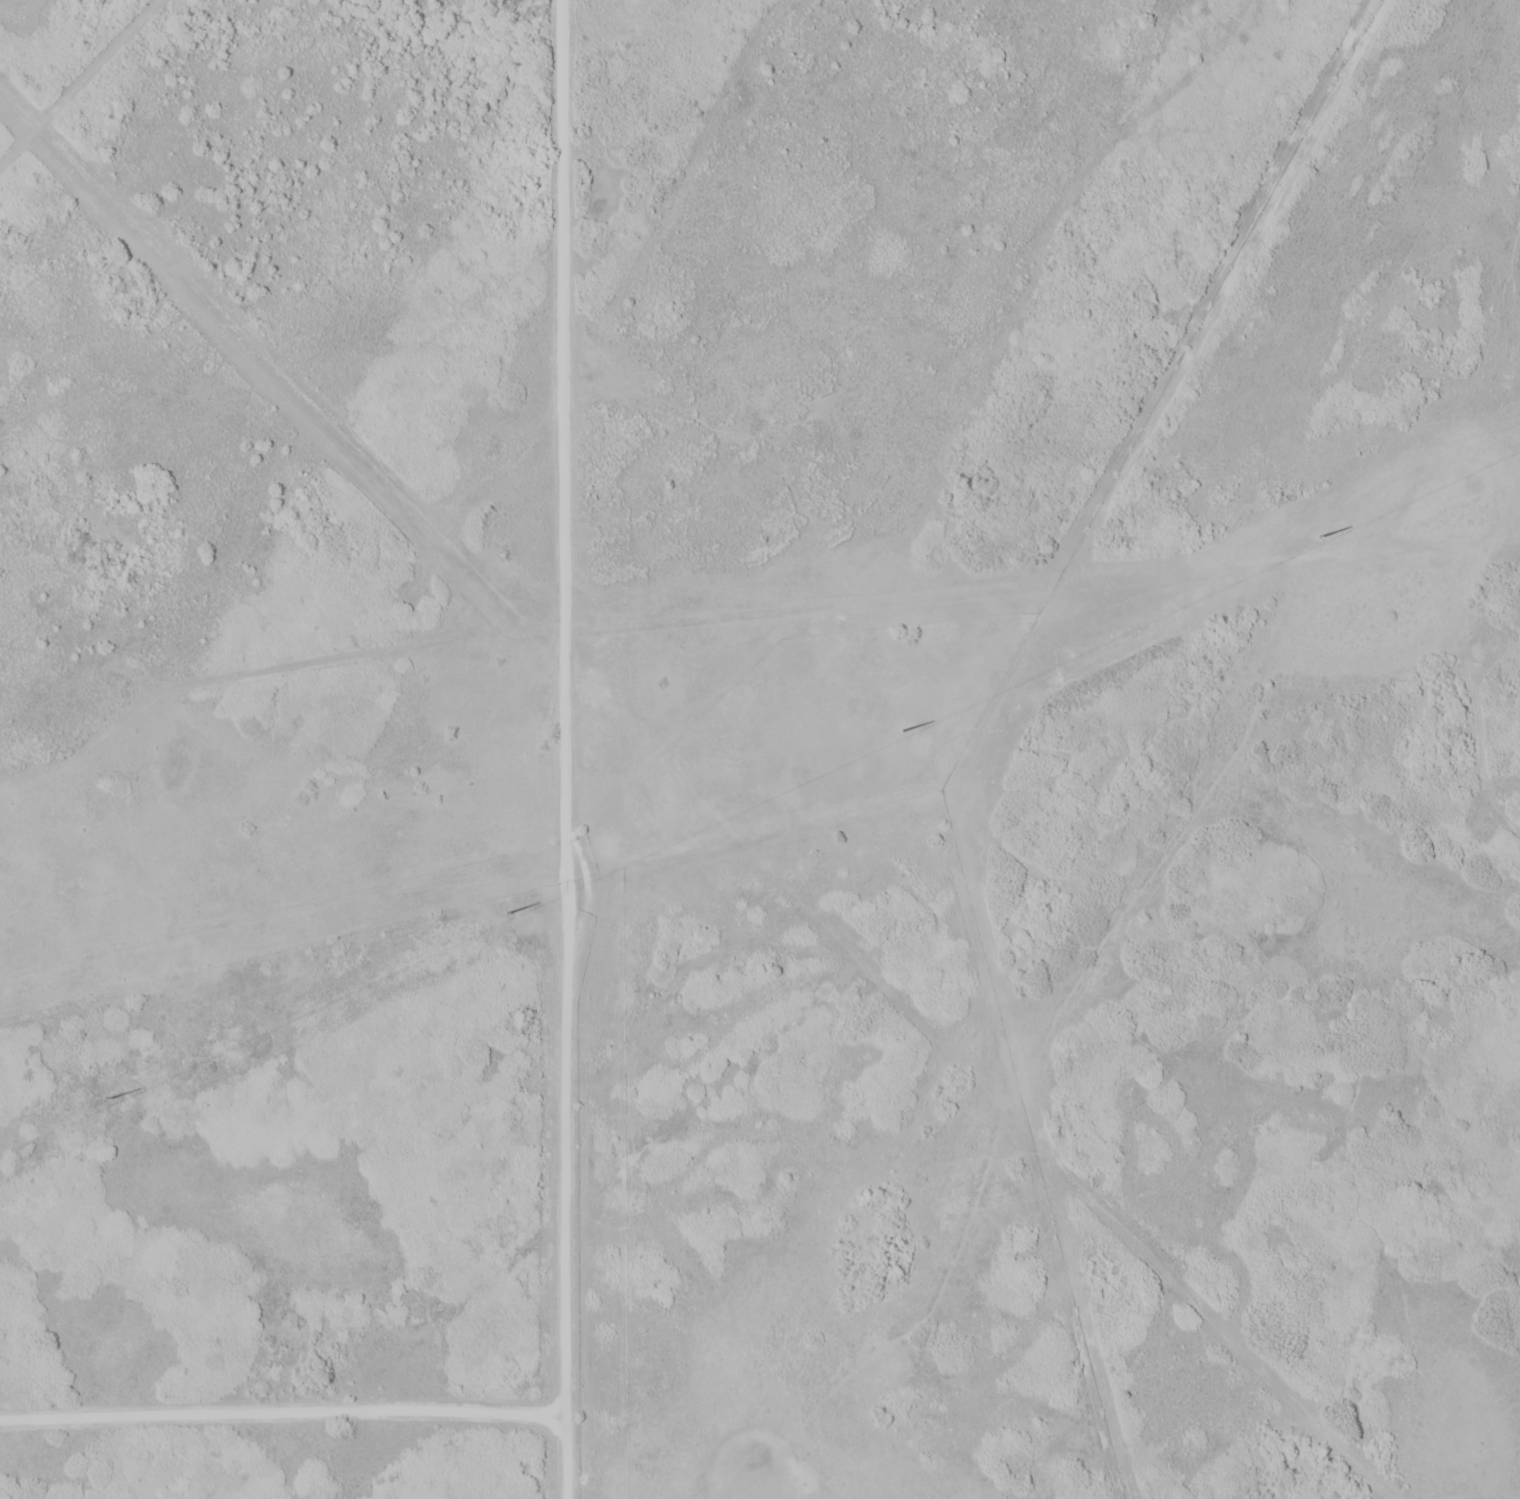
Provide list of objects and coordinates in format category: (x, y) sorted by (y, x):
power tower: (1317, 538)
power tower: (901, 730)
road: (556, 749)
power tower: (510, 915)
power tower: (110, 1096)

